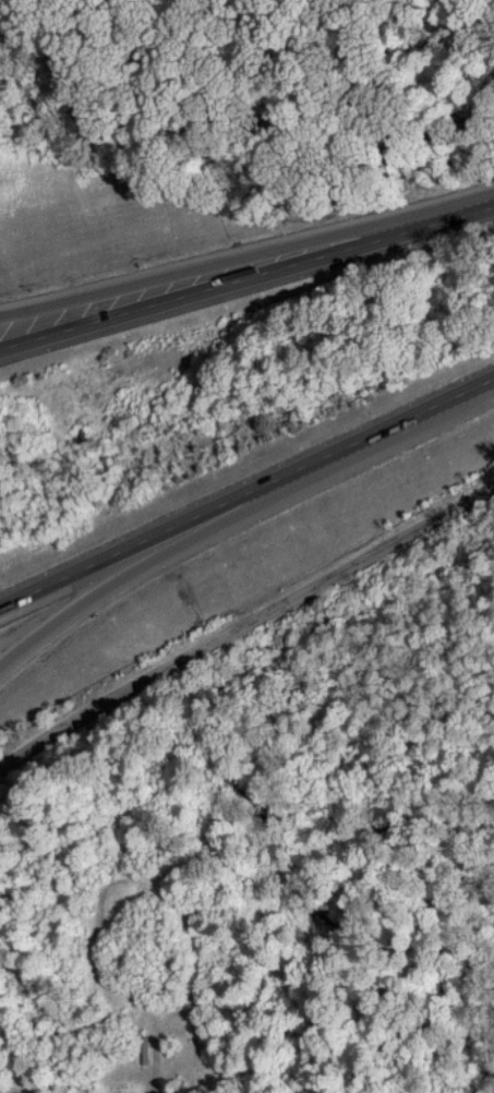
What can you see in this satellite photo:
road: (215, 268)
road: (246, 276)
road: (248, 495)
road: (161, 557)
road: (346, 573)
road: (98, 707)

